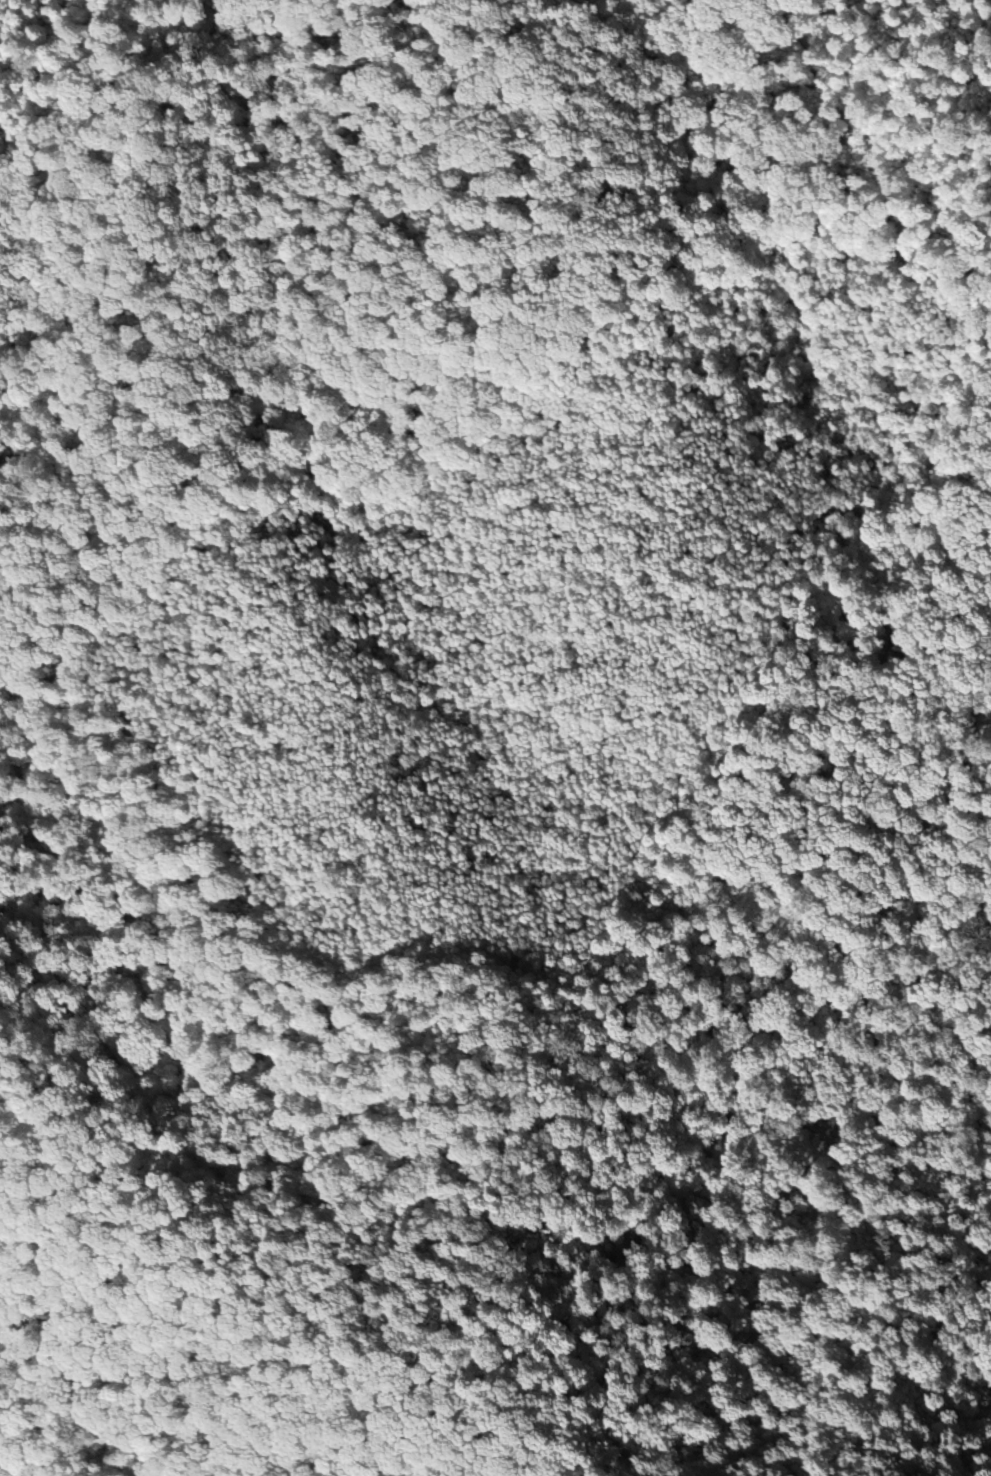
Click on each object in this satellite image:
road: (884, 181)

